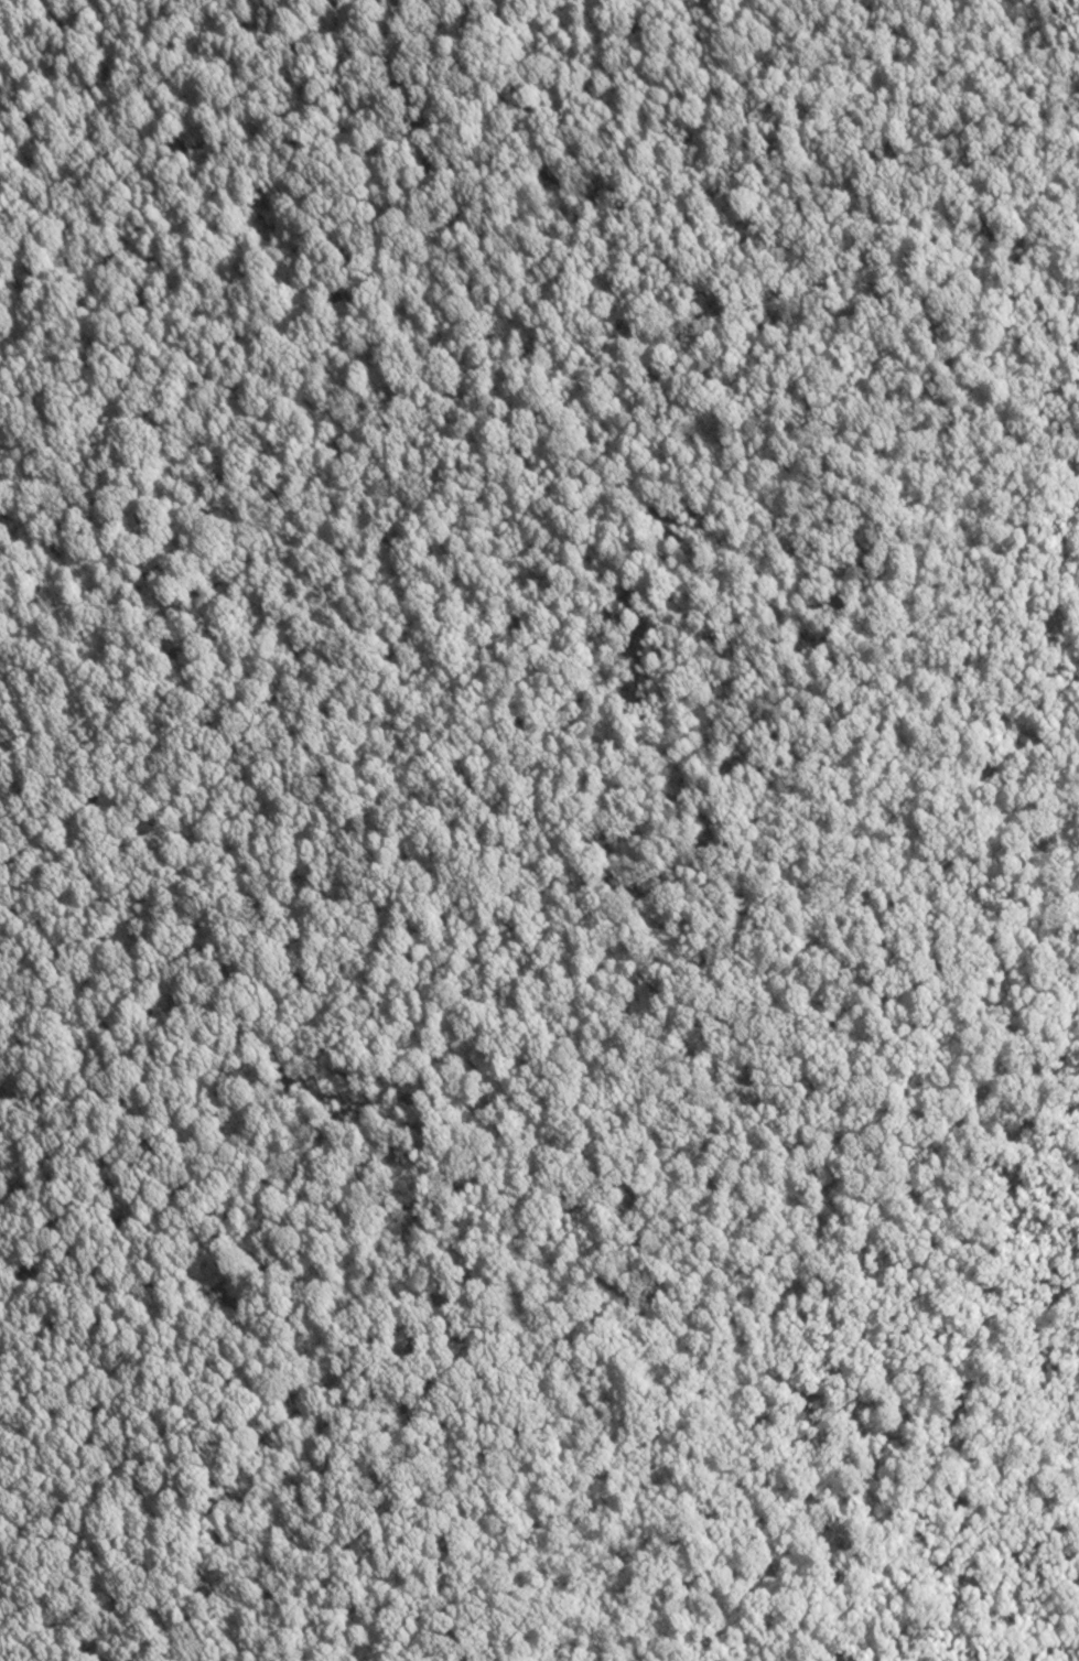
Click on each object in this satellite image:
road: (849, 809)

